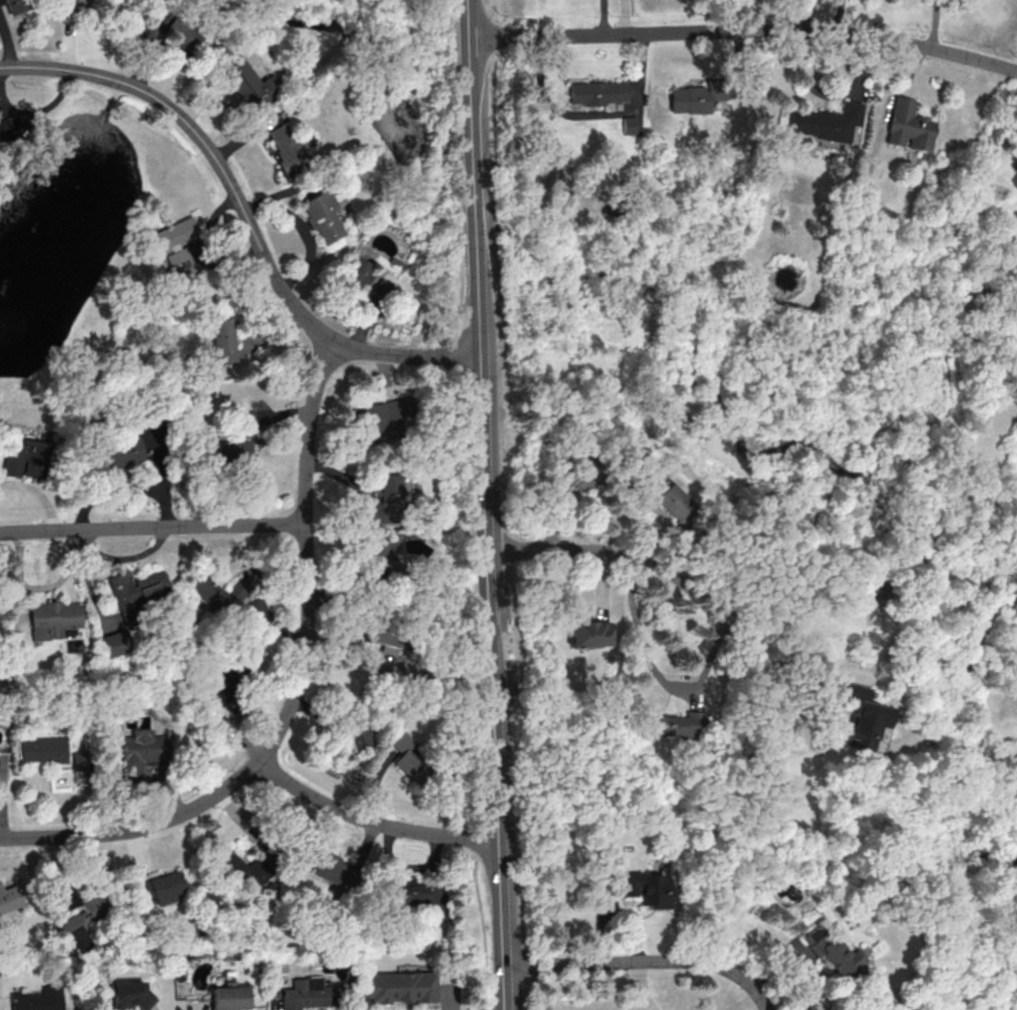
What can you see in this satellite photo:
building: (14, 5)
road: (604, 16)
road: (465, 17)
road: (936, 24)
road: (743, 29)
building: (171, 33)
river: (426, 67)
building: (246, 81)
building: (597, 92)
road: (825, 95)
building: (692, 98)
road: (94, 109)
road: (37, 112)
road: (105, 113)
road: (592, 115)
road: (117, 119)
building: (825, 121)
road: (469, 124)
building: (628, 124)
building: (907, 125)
building: (286, 148)
road: (458, 169)
road: (243, 211)
building: (319, 215)
road: (473, 226)
river: (475, 227)
building: (173, 244)
building: (353, 275)
building: (222, 339)
road: (458, 358)
building: (381, 419)
building: (237, 443)
river: (742, 446)
building: (119, 455)
building: (26, 456)
building: (571, 474)
building: (664, 501)
building: (383, 502)
road: (152, 527)
road: (485, 538)
building: (383, 556)
road: (636, 560)
building: (239, 588)
building: (139, 589)
building: (207, 591)
road: (473, 598)
building: (53, 619)
building: (589, 633)
building: (114, 643)
building: (390, 652)
road: (809, 665)
road: (655, 672)
road: (296, 692)
building: (862, 717)
building: (675, 724)
building: (358, 729)
river: (961, 746)
building: (44, 749)
building: (339, 751)
building: (409, 754)
building: (3, 766)
road: (371, 818)
road: (472, 837)
building: (333, 870)
building: (241, 871)
building: (161, 888)
building: (647, 888)
building: (415, 894)
building: (69, 896)
road: (603, 896)
building: (9, 898)
road: (501, 902)
road: (619, 912)
building: (82, 922)
road: (485, 932)
building: (833, 953)
road: (645, 960)
road: (799, 962)
building: (402, 988)
road: (504, 989)
building: (129, 994)
building: (309, 995)
building: (231, 999)
building: (40, 1000)
road: (741, 1001)
road: (644, 1005)

